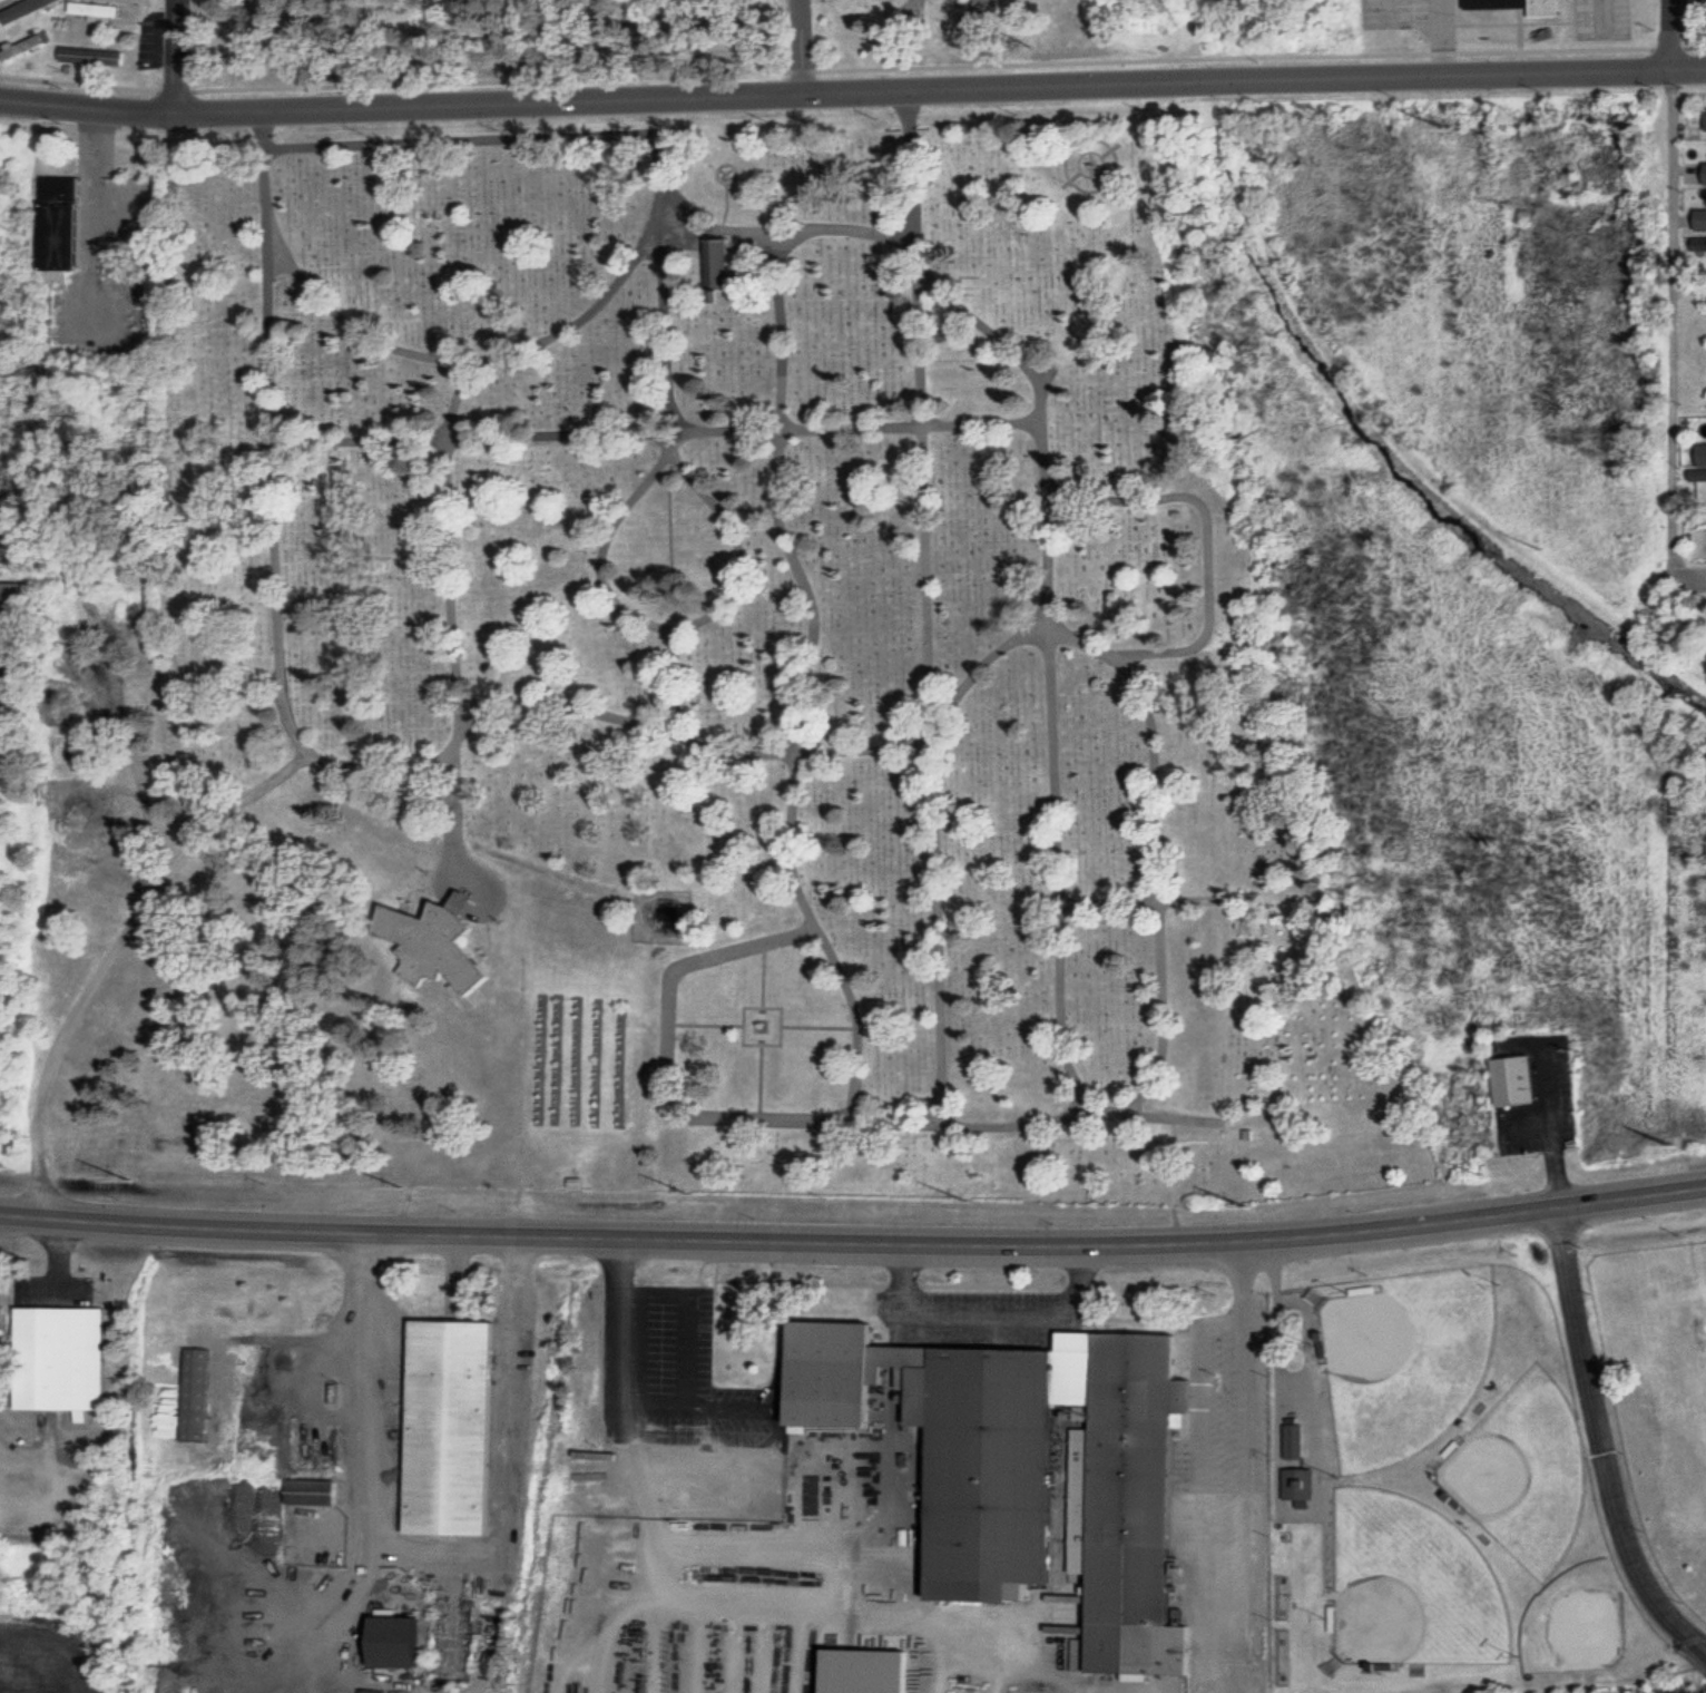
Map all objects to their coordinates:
building: (1523, 6)
building: (96, 10)
road: (1671, 36)
park: (706, 43)
road: (852, 43)
road: (175, 56)
building: (92, 57)
road: (852, 94)
road: (459, 144)
road: (912, 166)
building: (1700, 219)
building: (61, 227)
road: (719, 234)
building: (1704, 245)
building: (720, 264)
road: (1671, 326)
road: (667, 332)
road: (520, 350)
railway: (1365, 408)
road: (657, 434)
road: (671, 460)
building: (1700, 464)
road: (451, 540)
road: (790, 547)
road: (1688, 581)
building: (11, 598)
road: (1068, 638)
park: (659, 682)
road: (673, 684)
road: (385, 771)
road: (1057, 870)
road: (1146, 902)
park: (1322, 917)
building: (437, 946)
road: (112, 956)
road: (667, 1058)
building: (1518, 1080)
road: (1174, 1116)
road: (1174, 1181)
road: (854, 1243)
road: (452, 1273)
road: (438, 1309)
road: (992, 1312)
road: (682, 1344)
building: (60, 1356)
park: (1404, 1361)
building: (198, 1393)
road: (729, 1407)
building: (452, 1423)
building: (1291, 1438)
road: (1602, 1444)
building: (1031, 1462)
park: (1523, 1474)
building: (1297, 1482)
road: (51, 1485)
road: (1244, 1548)
road: (783, 1550)
road: (438, 1559)
park: (1410, 1585)
road: (720, 1604)
park: (1577, 1622)
road: (1698, 1637)
building: (404, 1640)
road: (47, 1653)
building: (870, 1668)
building: (1029, 1691)

